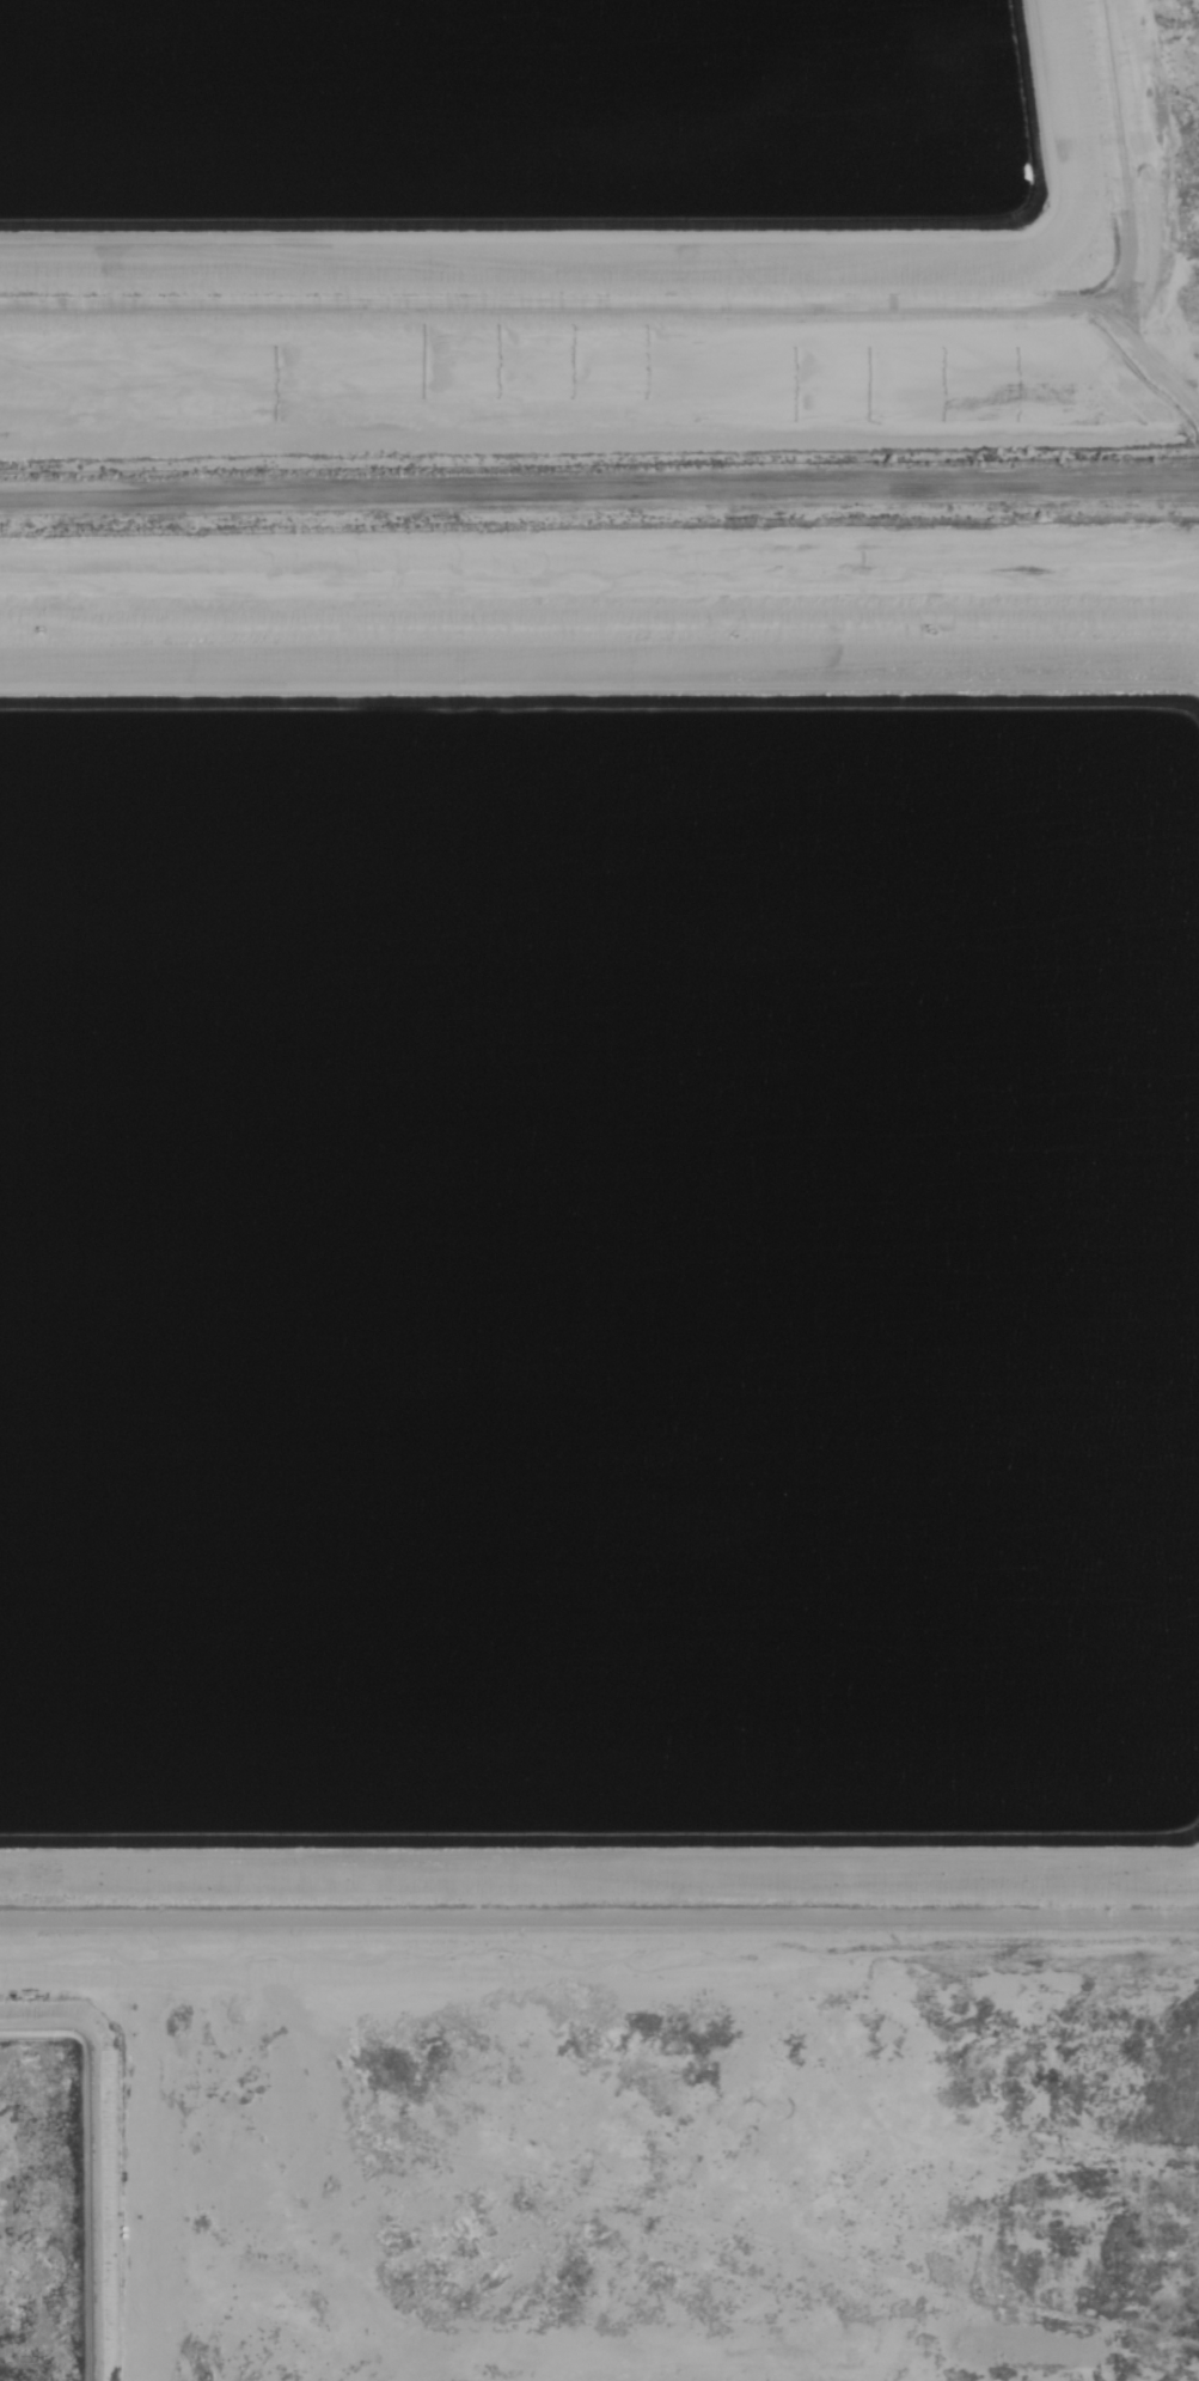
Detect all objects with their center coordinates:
wastewater plant: (597, 225)
road: (599, 494)
wastewater plant: (600, 1453)
road: (599, 1917)

